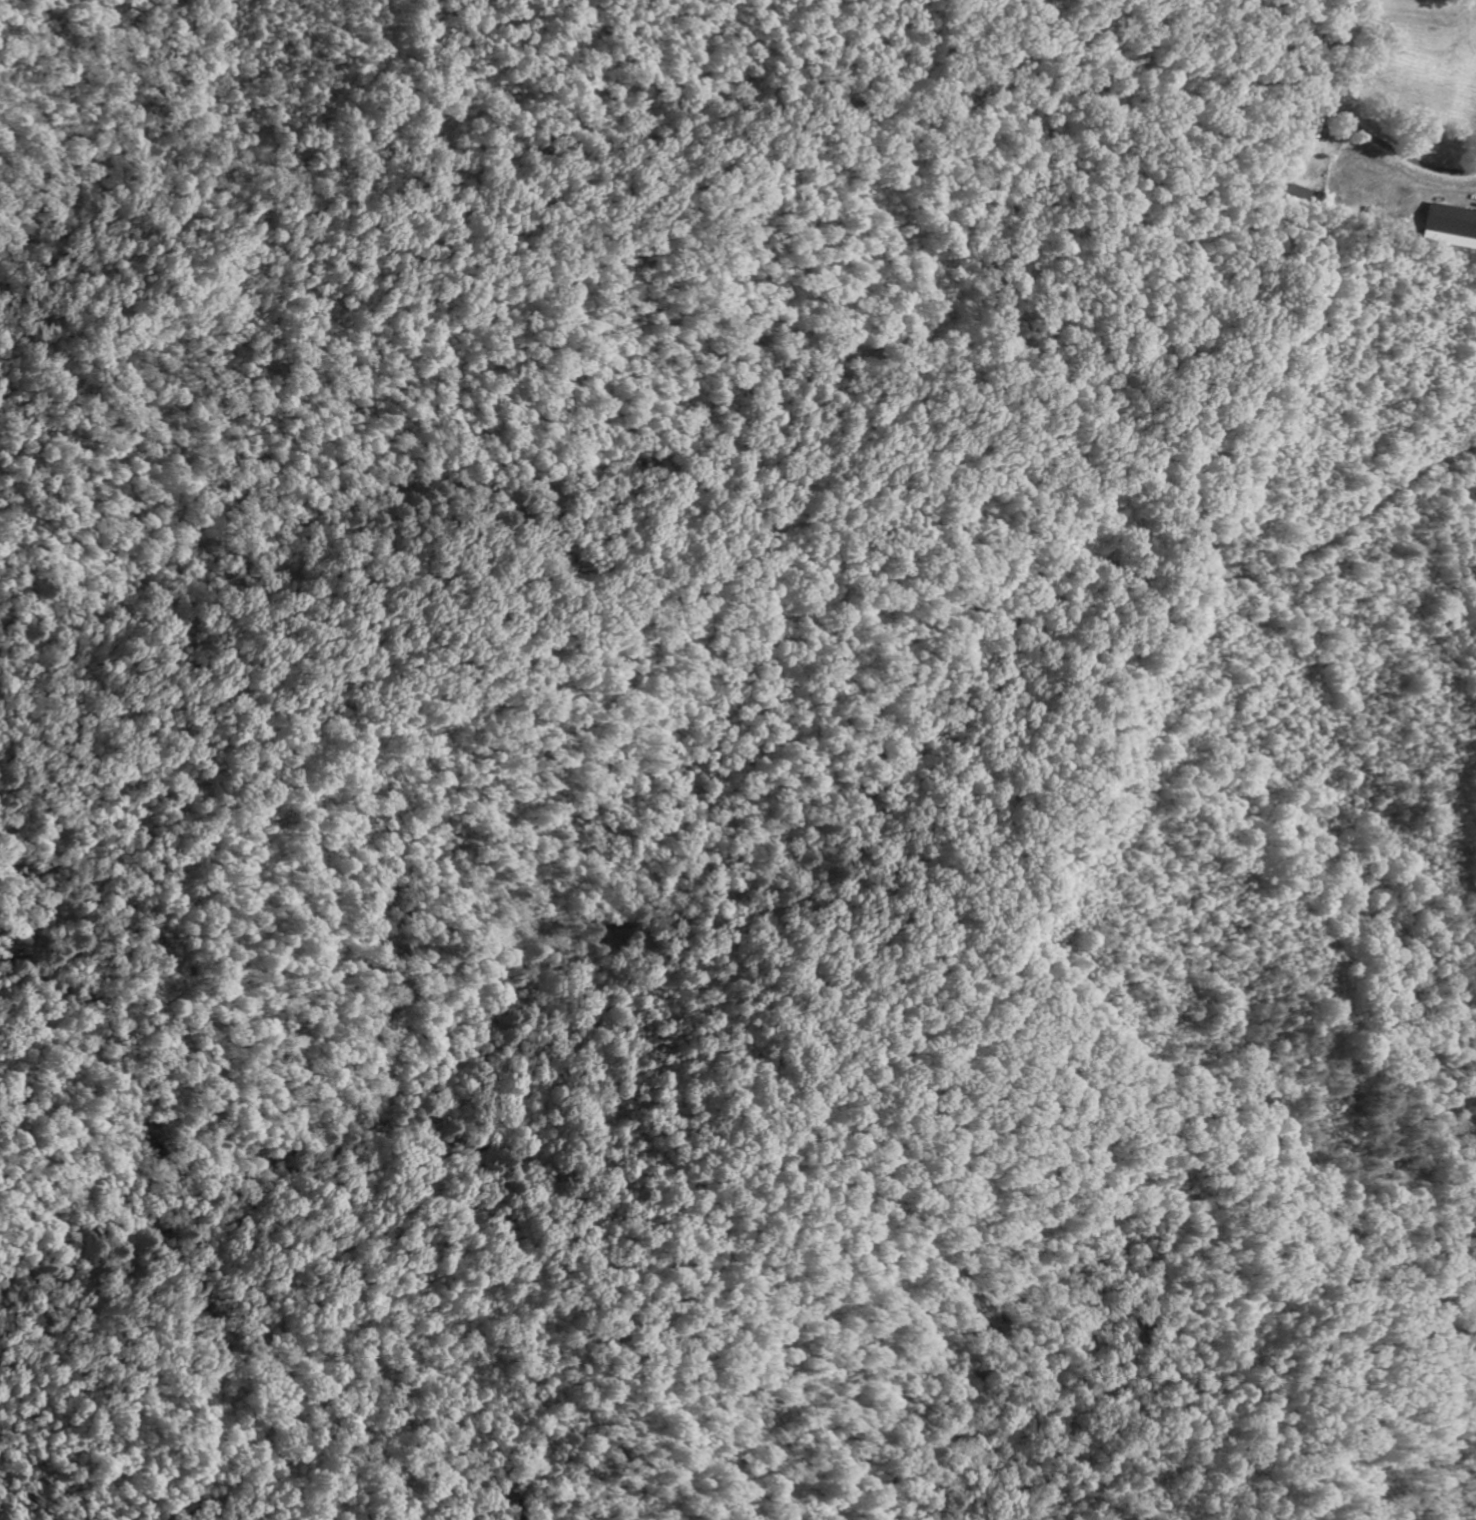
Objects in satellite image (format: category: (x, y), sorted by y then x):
road: (1351, 123)
building: (1447, 222)

